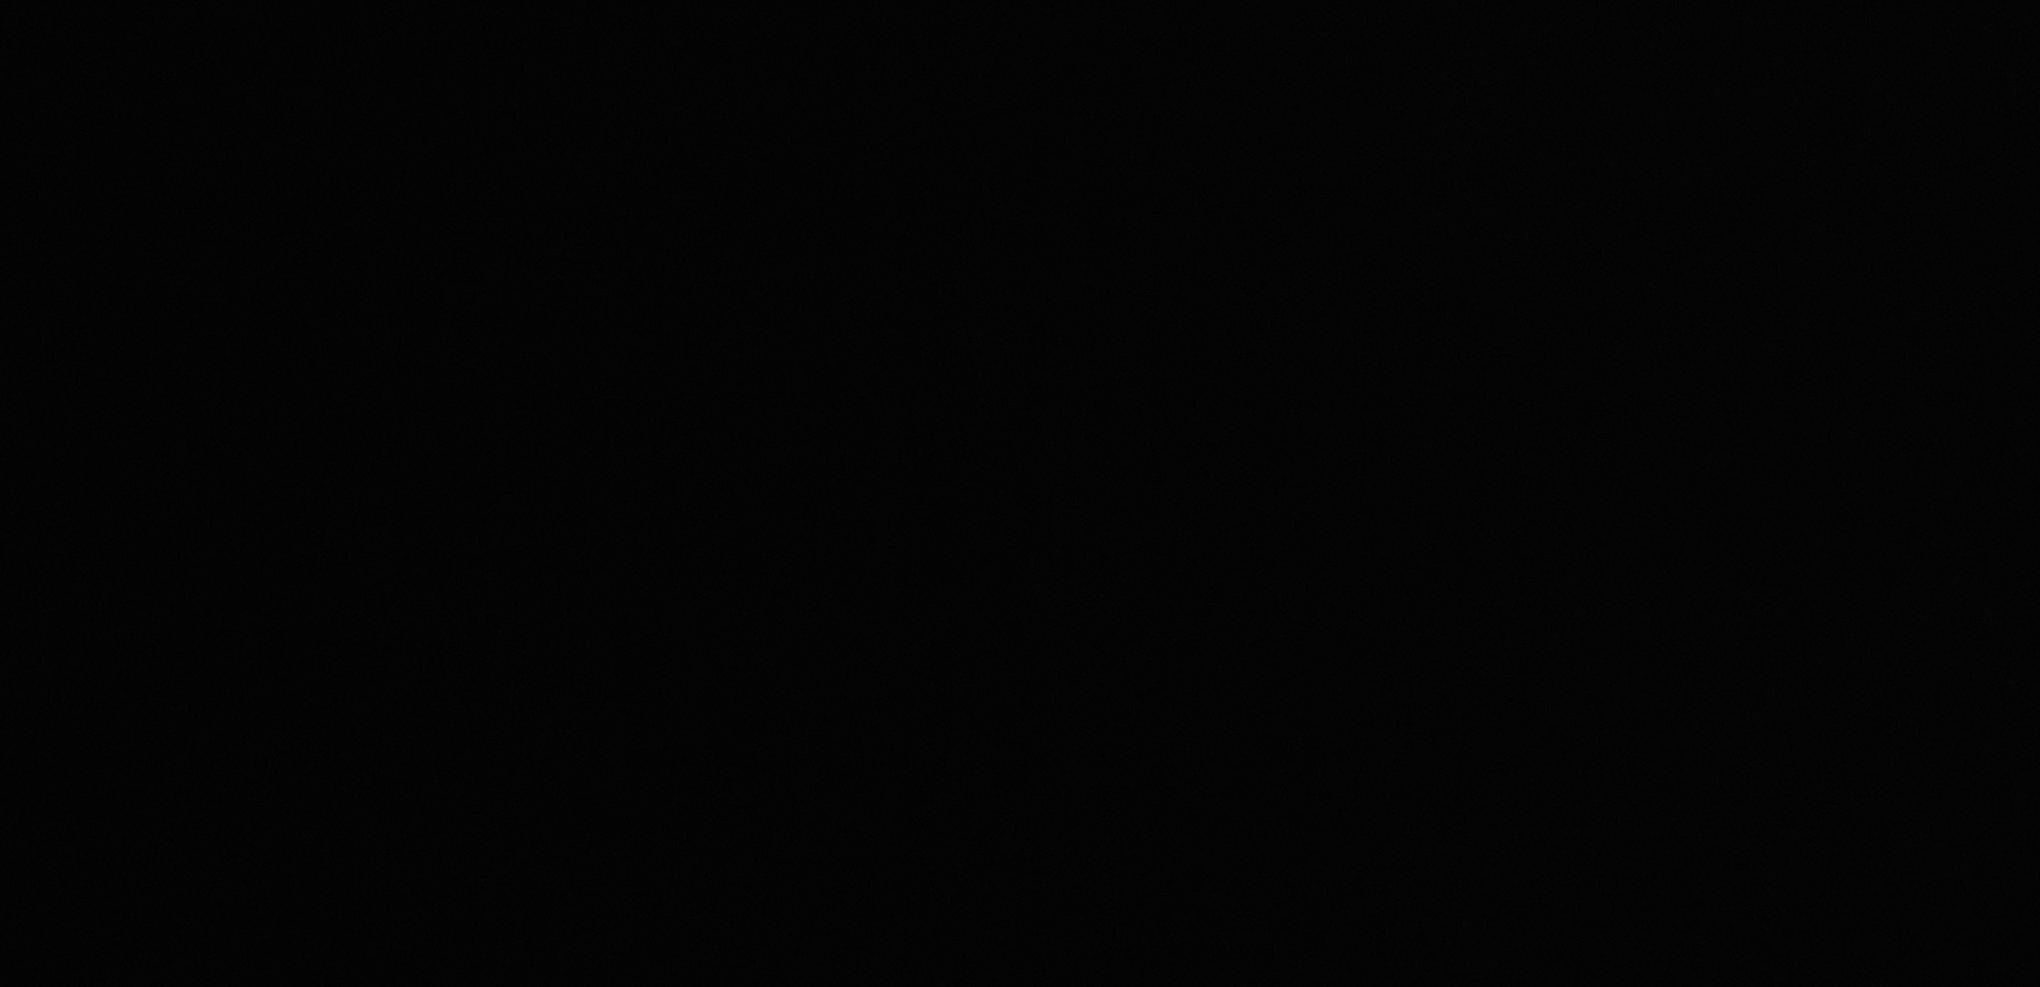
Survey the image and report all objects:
river: (1832, 135)

